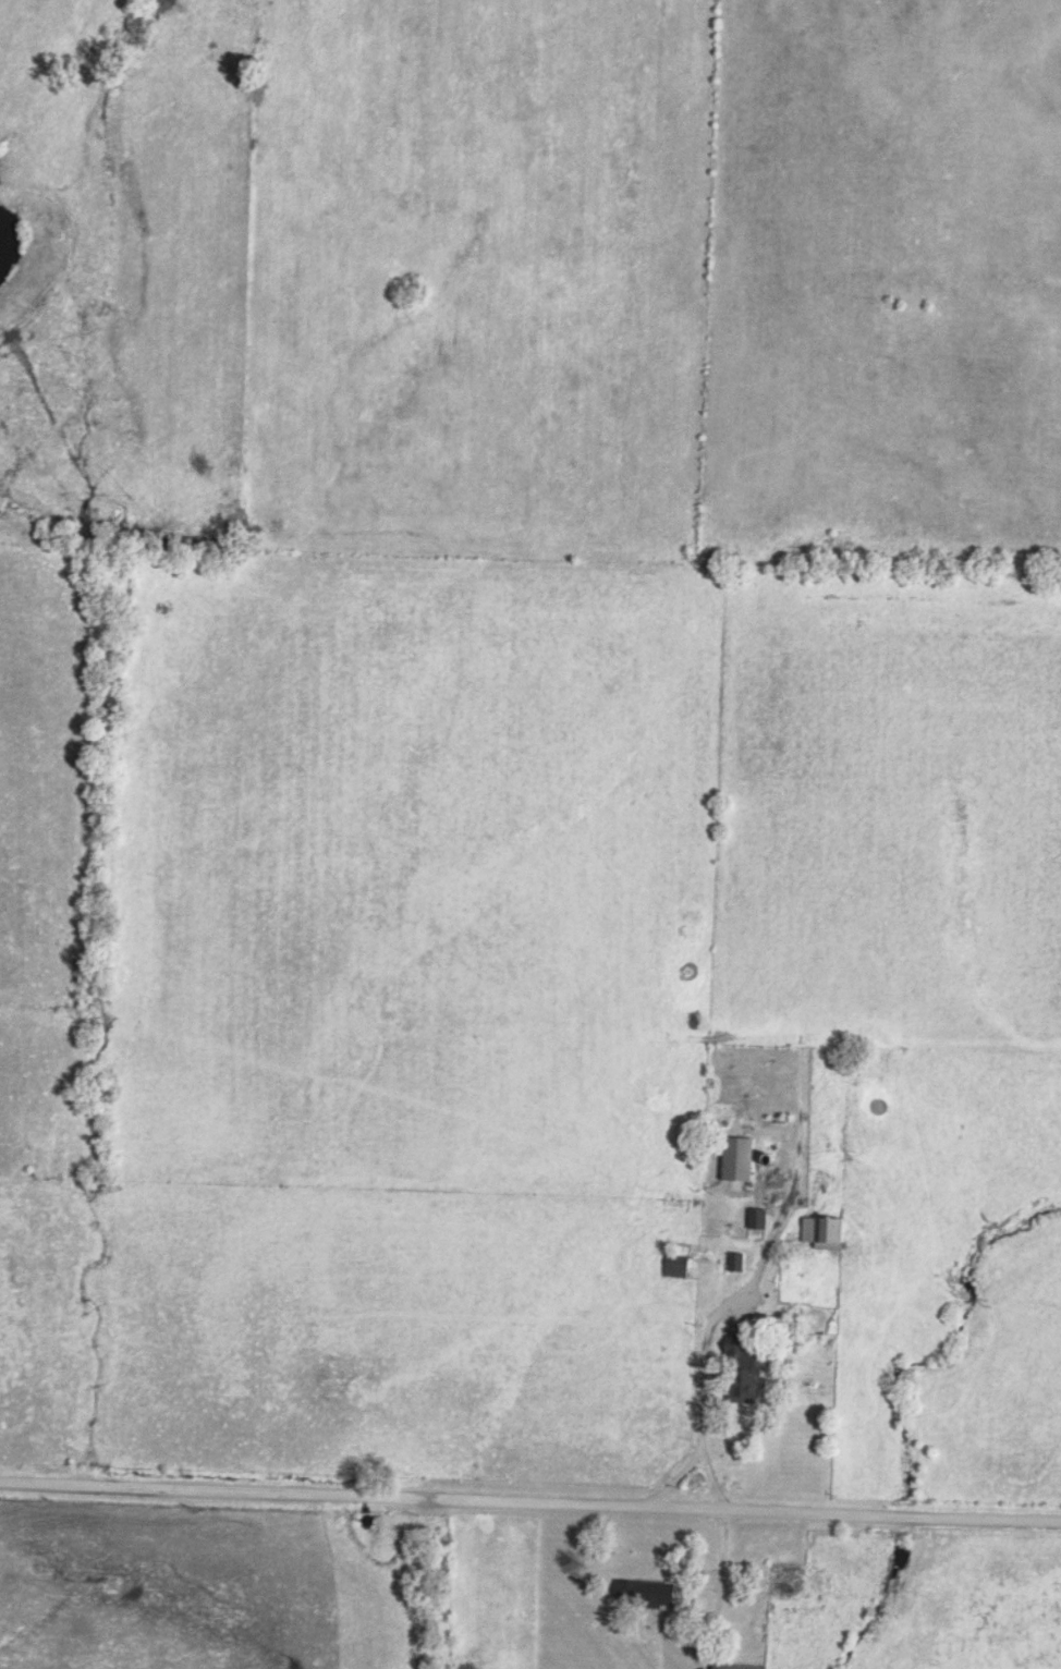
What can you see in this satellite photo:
building: (732, 1158)
building: (753, 1218)
building: (818, 1231)
building: (672, 1265)
road: (721, 1298)
building: (736, 1373)
road: (666, 1470)
road: (530, 1495)
building: (784, 1582)
building: (634, 1594)

